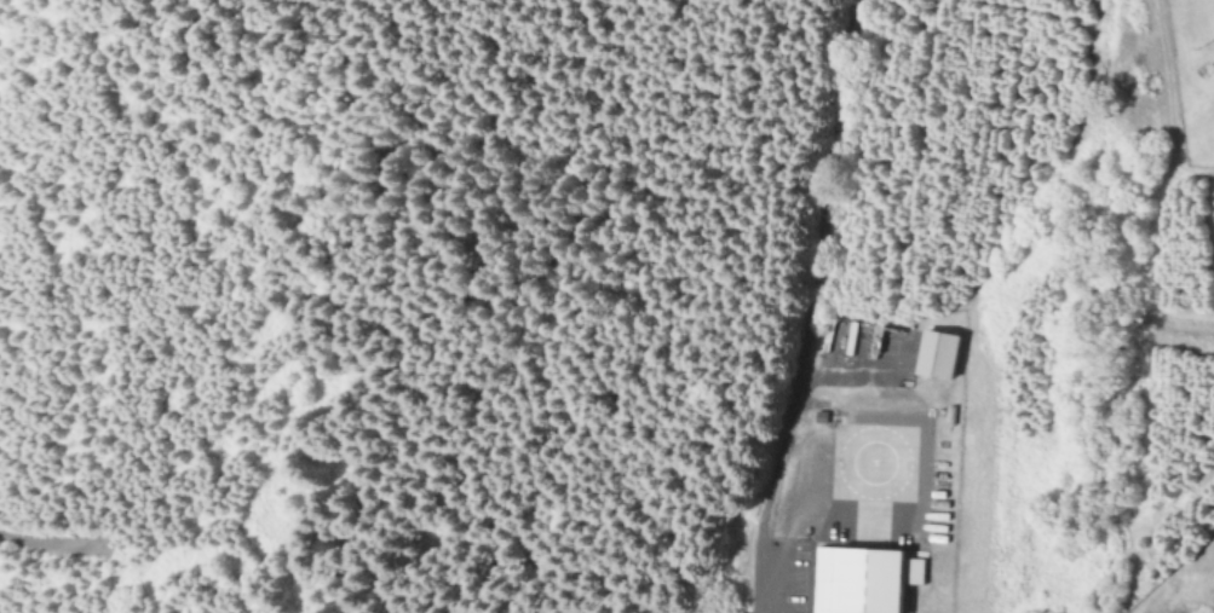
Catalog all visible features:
road: (807, 307)
building: (937, 355)
building: (864, 580)

